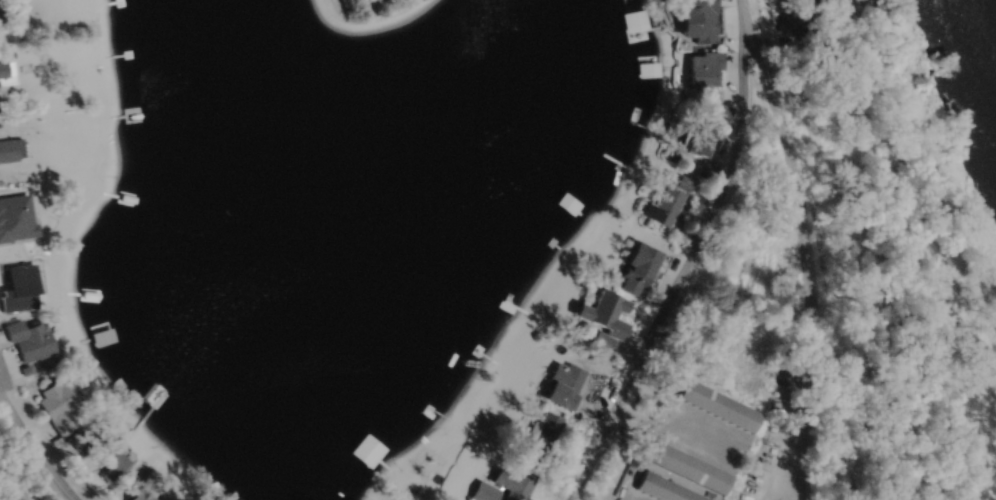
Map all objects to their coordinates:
building: (704, 21)
building: (704, 71)
building: (699, 138)
building: (10, 151)
building: (665, 202)
road: (685, 255)
building: (637, 269)
building: (19, 298)
building: (604, 313)
building: (28, 343)
building: (560, 395)
building: (60, 405)
building: (717, 405)
building: (545, 433)
road: (32, 449)
building: (111, 460)
building: (688, 468)
building: (504, 487)
building: (663, 489)

